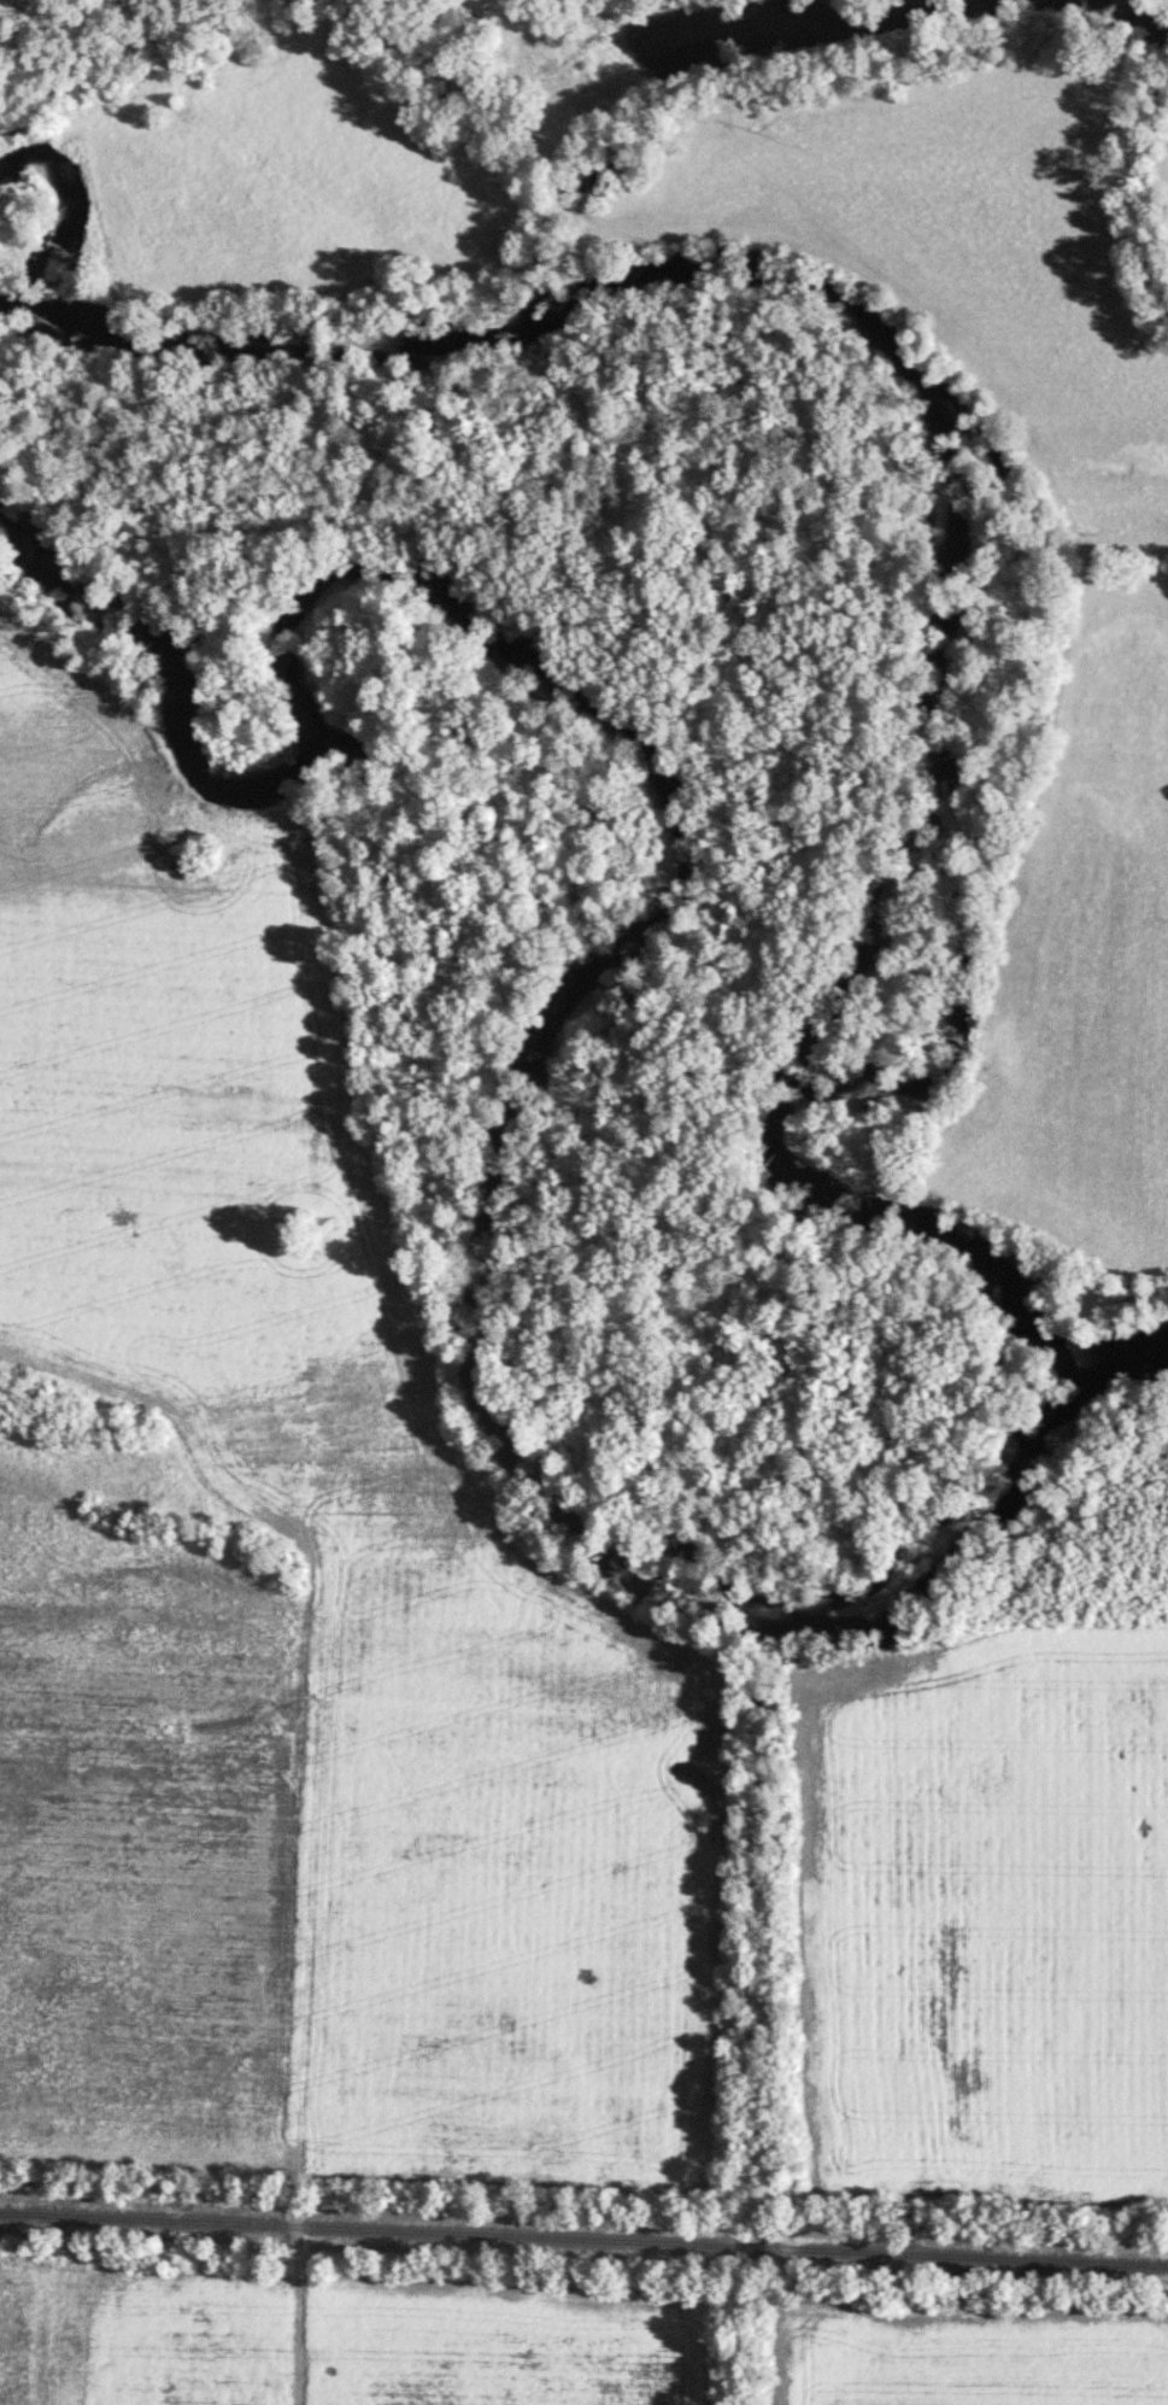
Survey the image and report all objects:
railway: (583, 2239)

